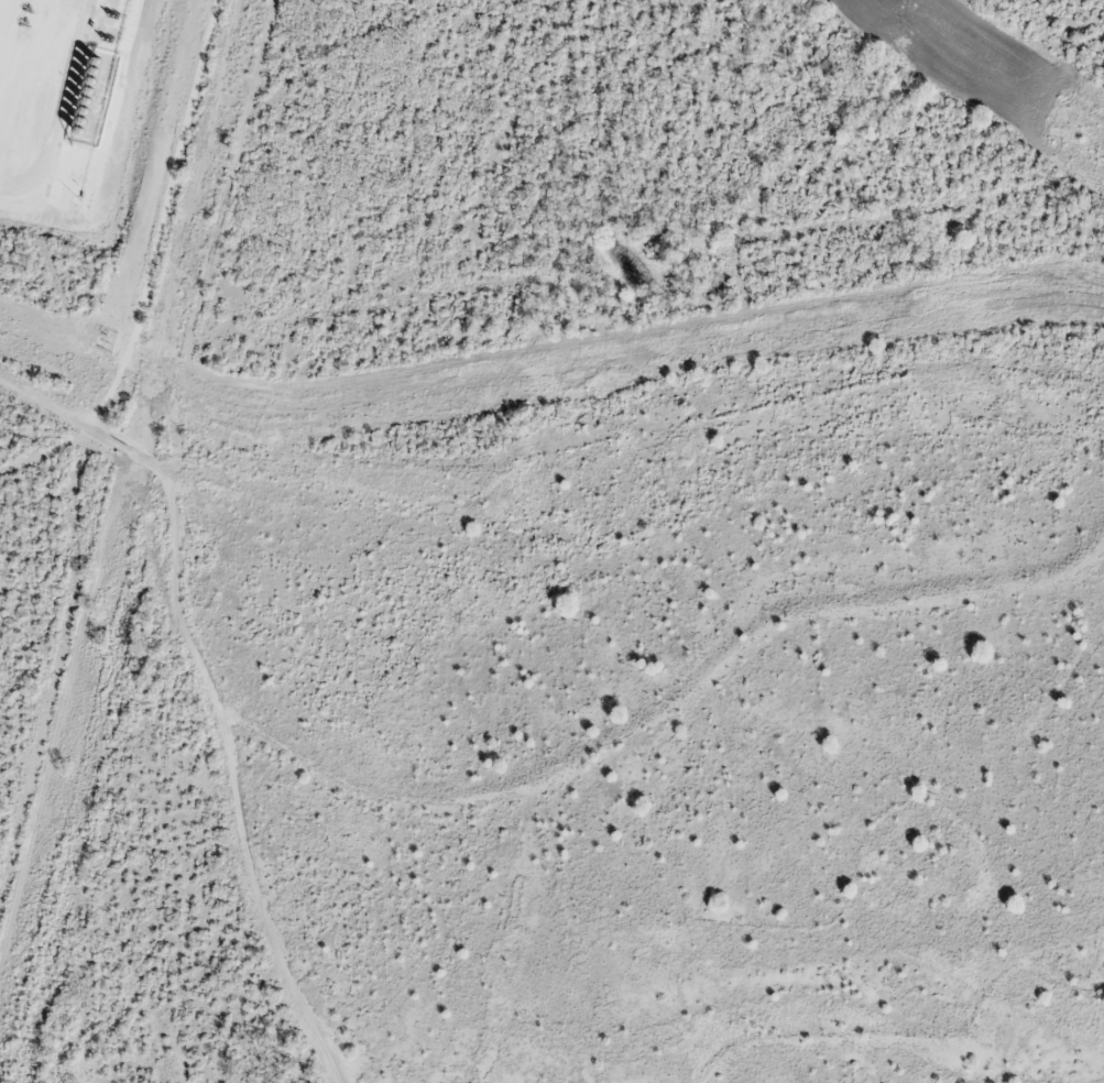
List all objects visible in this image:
road: (624, 533)
road: (208, 676)

